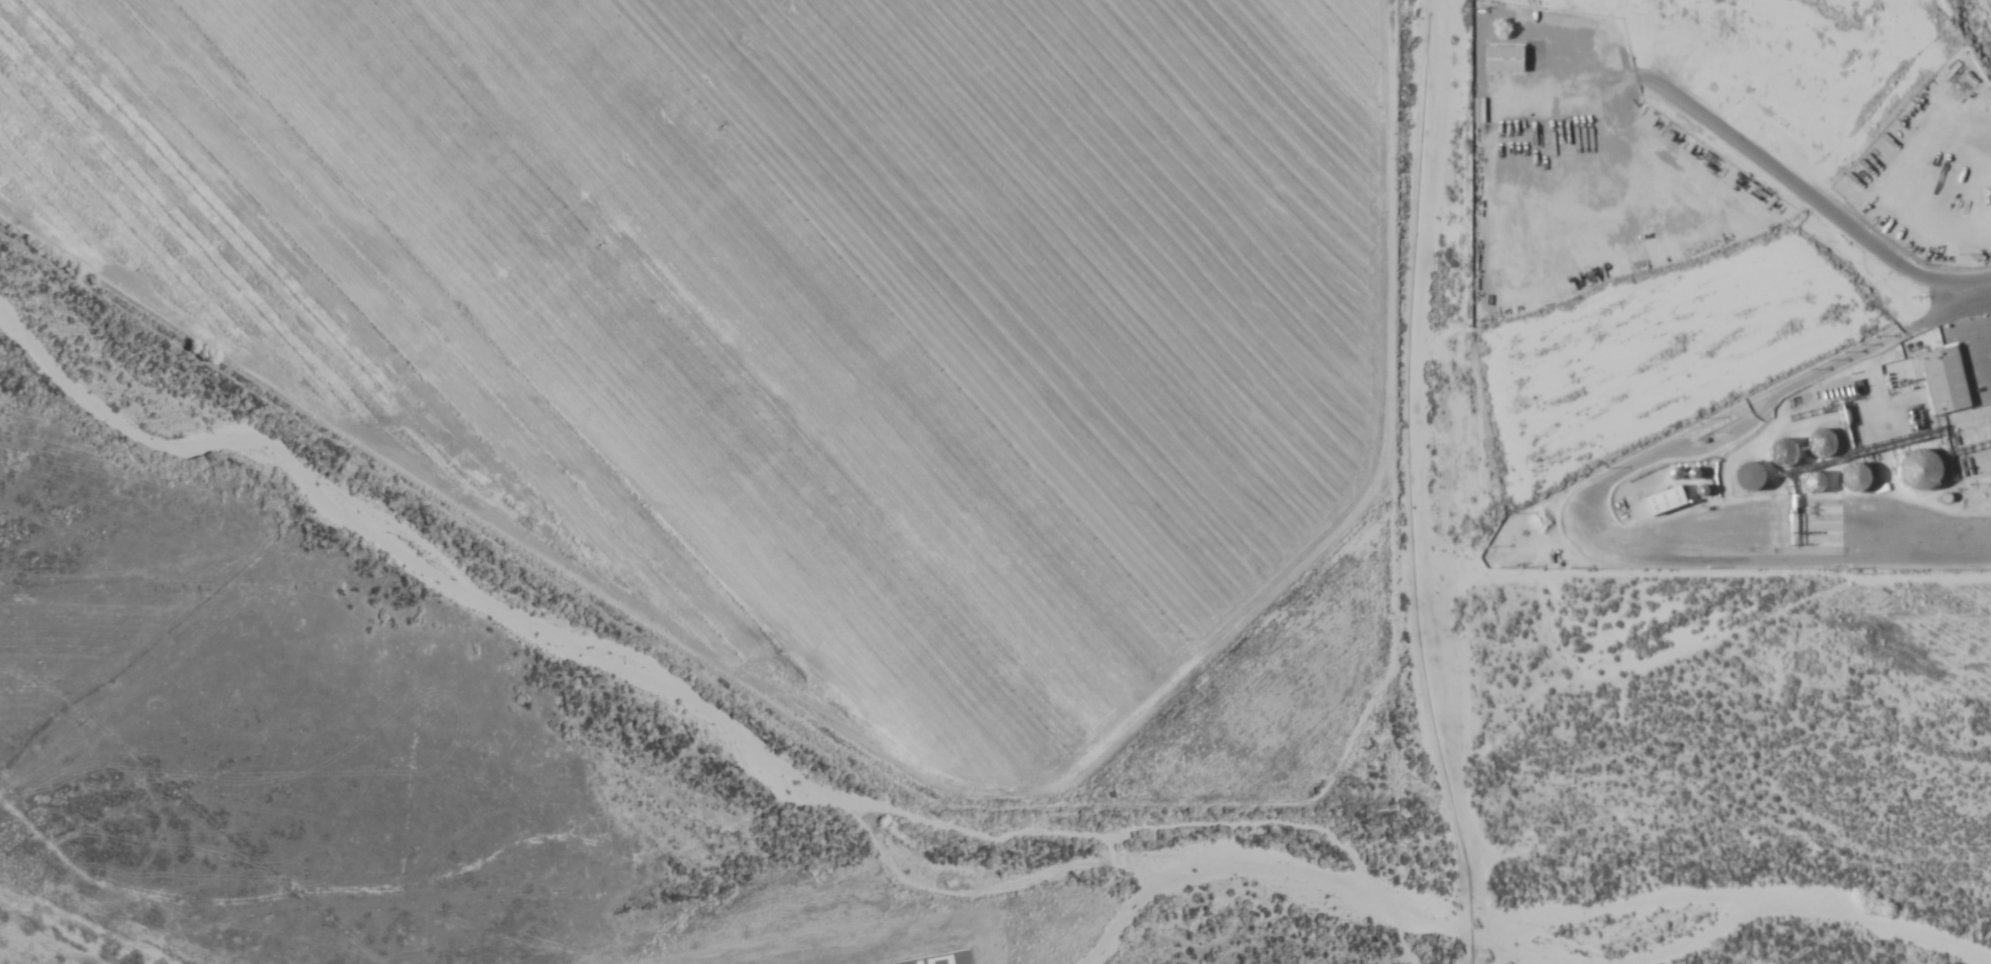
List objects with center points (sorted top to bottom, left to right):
road: (1811, 203)
crop: (902, 307)
airport: (374, 810)

